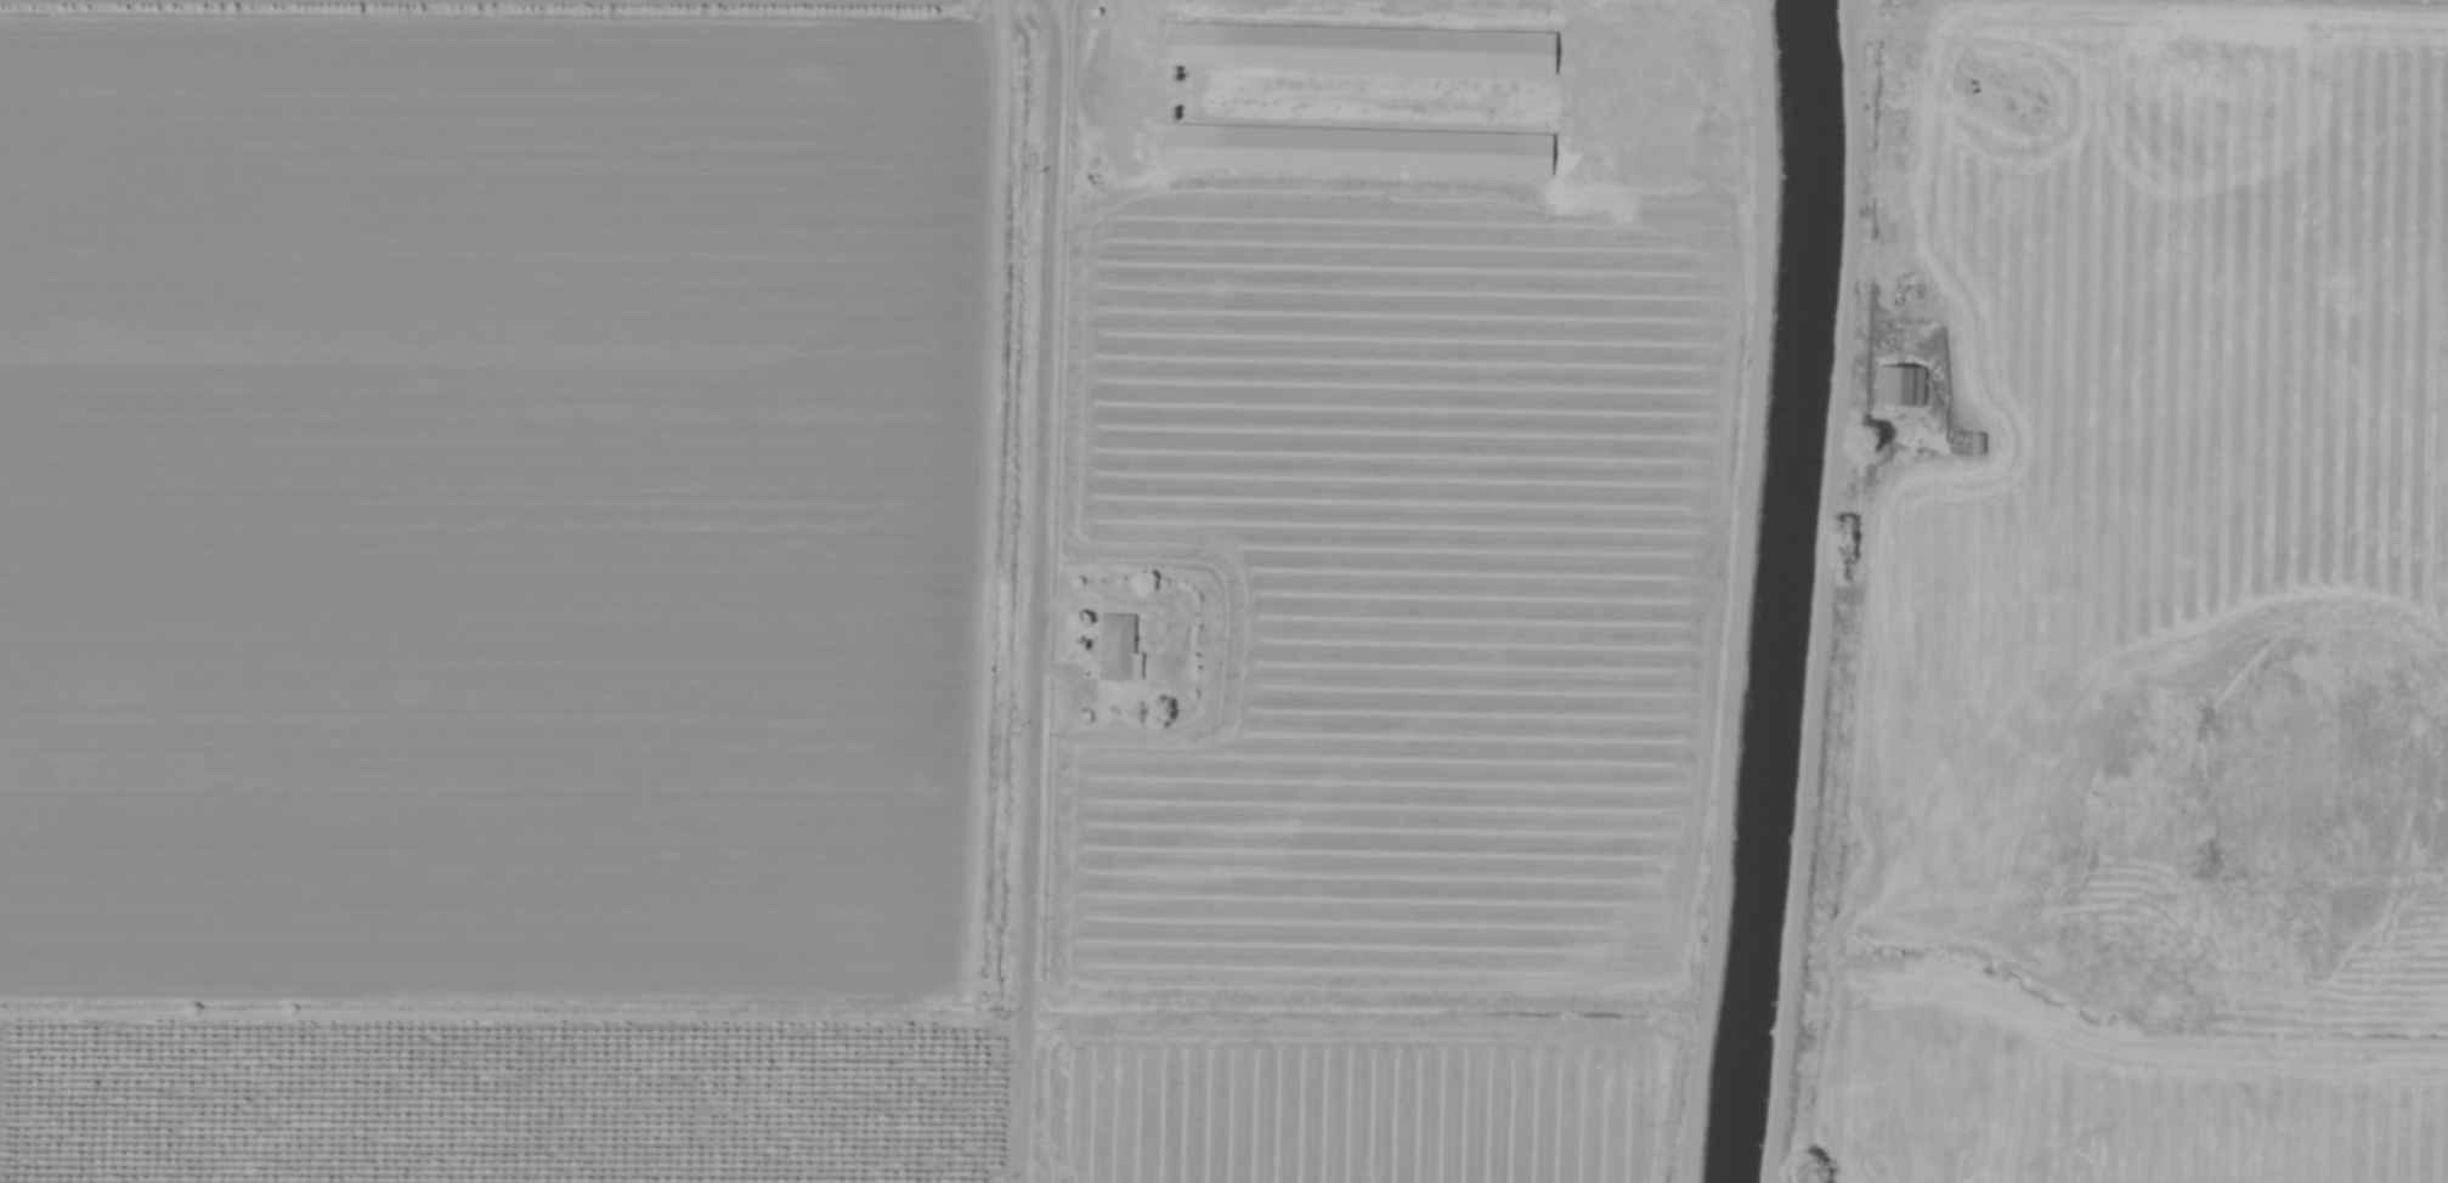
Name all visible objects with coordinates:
crop: (2282, 143)
building: (1208, 146)
building: (1904, 385)
road: (1039, 591)
road: (1824, 591)
crop: (865, 622)
building: (1121, 649)

